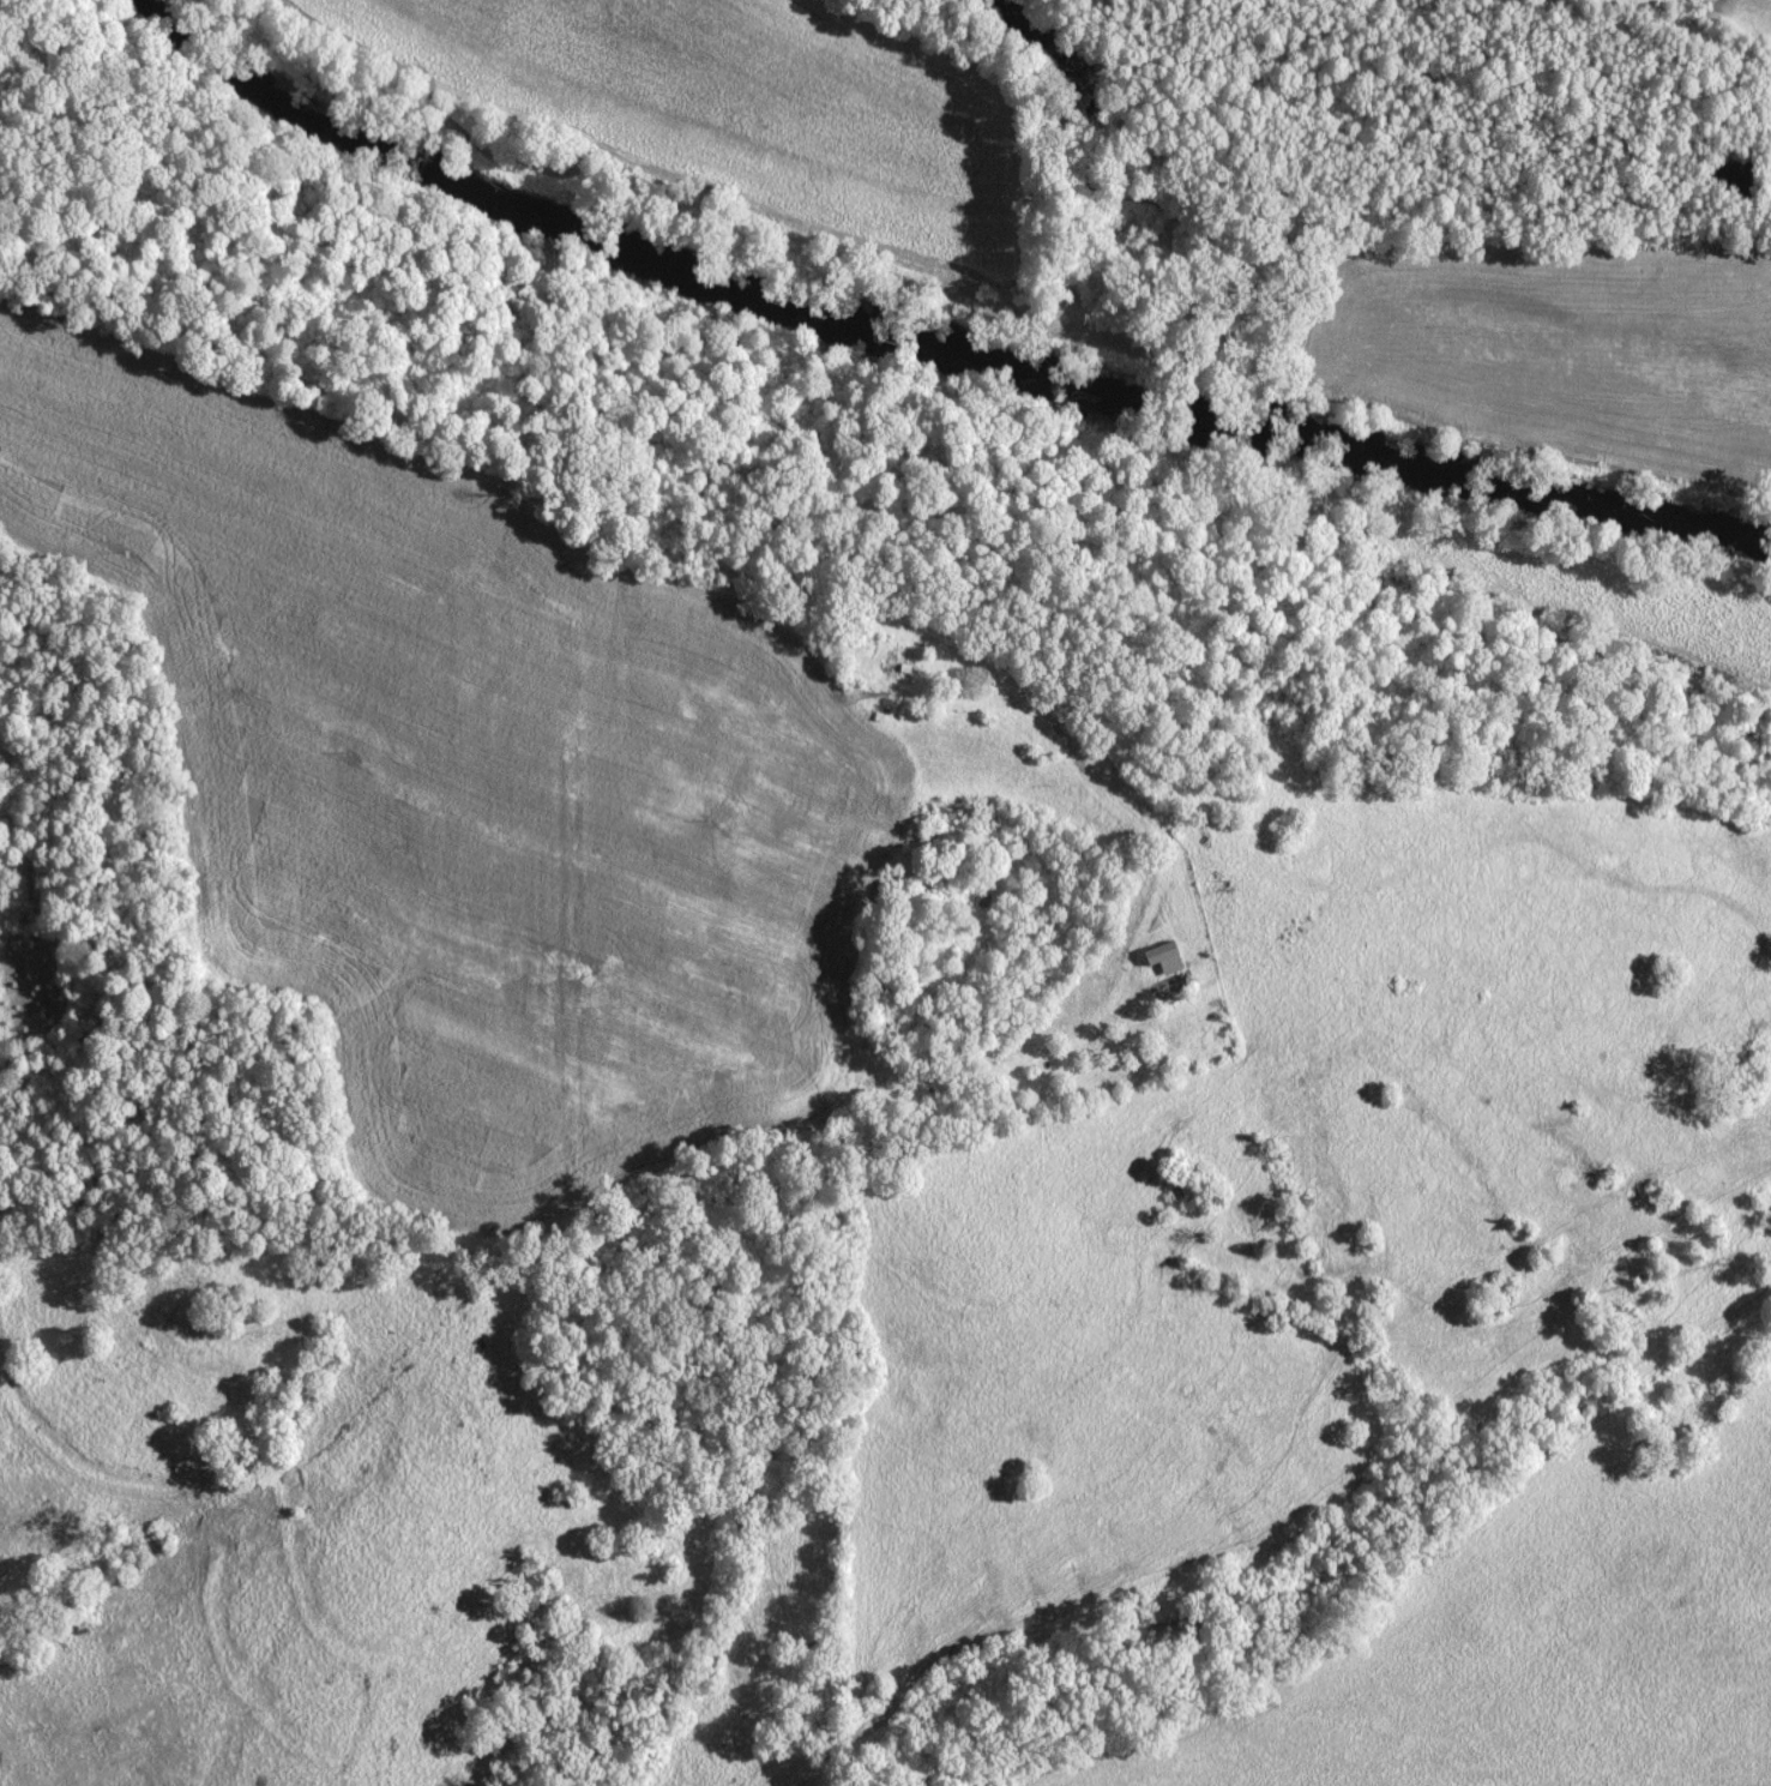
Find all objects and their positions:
building: (891, 665)

